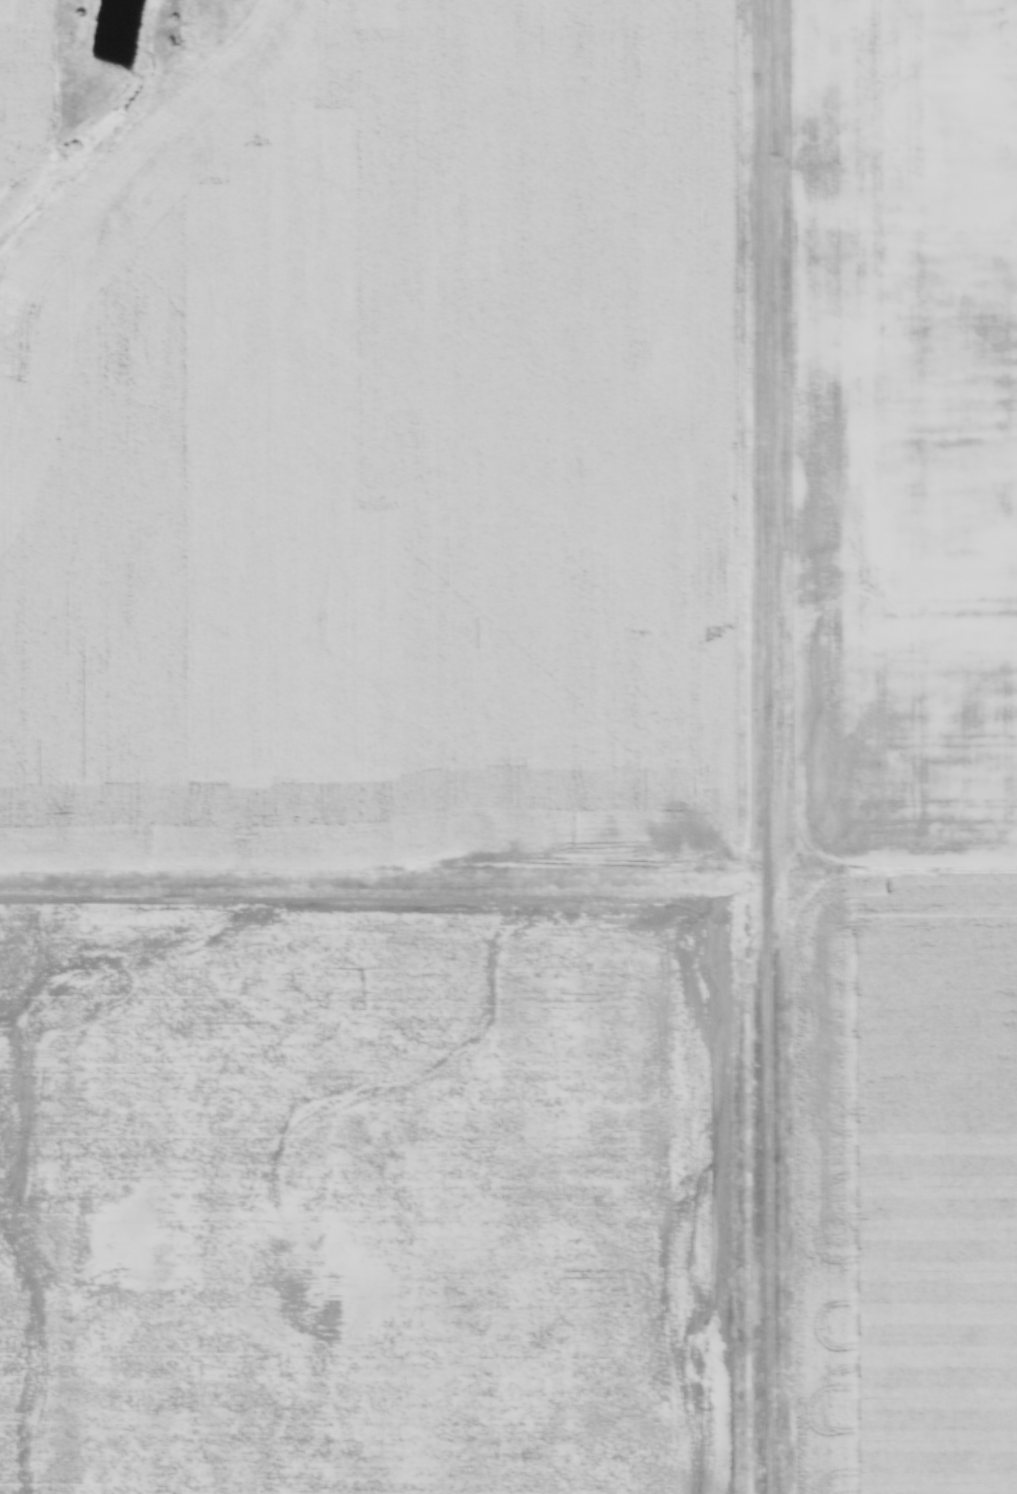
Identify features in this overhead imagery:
road: (765, 747)

